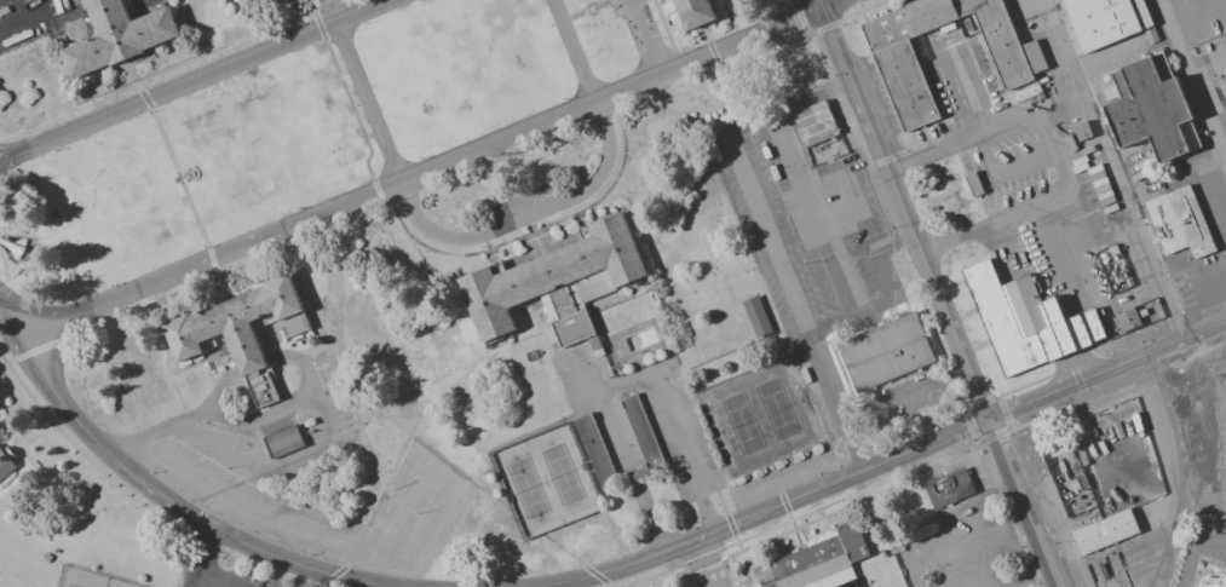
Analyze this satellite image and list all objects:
road: (818, 2)
road: (828, 2)
parking lot: (18, 7)
road: (330, 12)
building: (695, 15)
building: (1106, 18)
road: (34, 19)
road: (1193, 25)
building: (119, 36)
road: (645, 36)
road: (575, 51)
building: (1032, 56)
building: (894, 58)
road: (1059, 67)
building: (1162, 68)
road: (195, 81)
road: (1191, 81)
building: (1121, 85)
building: (1109, 93)
road: (965, 94)
road: (369, 104)
building: (1150, 111)
building: (824, 134)
building: (1190, 136)
parking lot: (1014, 145)
road: (11, 149)
road: (1107, 150)
road: (1053, 151)
road: (413, 179)
road: (180, 182)
building: (971, 183)
road: (904, 212)
road: (528, 215)
building: (1180, 219)
road: (1134, 225)
building: (554, 281)
building: (1201, 284)
building: (759, 312)
building: (1028, 313)
building: (242, 330)
road: (7, 338)
building: (882, 346)
road: (54, 368)
road: (30, 372)
road: (622, 384)
park: (779, 412)
park: (744, 425)
building: (643, 432)
building: (283, 442)
building: (595, 450)
building: (421, 456)
road: (890, 457)
building: (6, 461)
park: (564, 476)
road: (437, 480)
building: (949, 487)
park: (530, 490)
road: (1174, 496)
road: (1021, 502)
road: (251, 507)
road: (218, 533)
building: (1107, 535)
road: (1193, 548)
building: (56, 549)
road: (944, 552)
building: (46, 558)
road: (201, 558)
building: (823, 559)
road: (706, 563)
road: (213, 580)
road: (1011, 582)
building: (1218, 582)
park: (74, 586)

